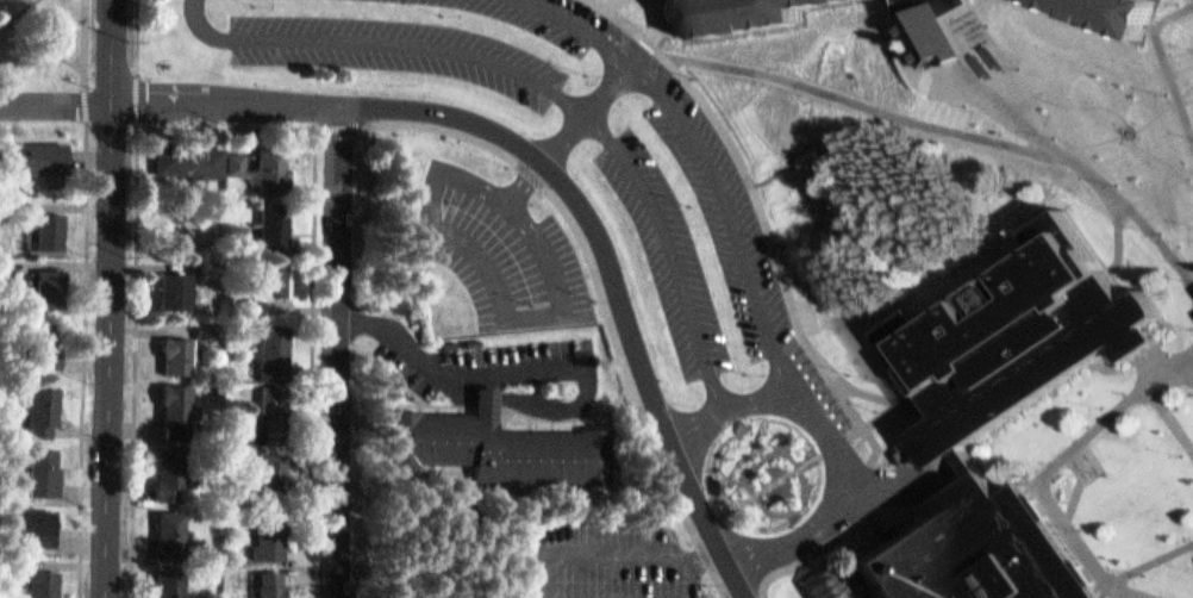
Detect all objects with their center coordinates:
building: (6, 0)
road: (37, 0)
road: (607, 2)
building: (747, 15)
building: (1106, 15)
road: (8, 23)
road: (667, 25)
building: (932, 29)
road: (40, 32)
road: (1157, 62)
road: (545, 87)
road: (1072, 99)
road: (171, 101)
road: (857, 101)
road: (1163, 102)
road: (1008, 105)
road: (586, 112)
road: (855, 118)
road: (808, 133)
road: (1094, 136)
road: (733, 139)
building: (36, 149)
road: (1163, 150)
building: (189, 151)
building: (267, 158)
road: (518, 158)
road: (710, 158)
road: (772, 163)
road: (1136, 207)
building: (276, 219)
building: (49, 224)
road: (1122, 231)
parking lot: (711, 243)
parking lot: (507, 251)
building: (276, 269)
road: (614, 275)
building: (174, 281)
building: (50, 282)
road: (90, 298)
road: (117, 298)
road: (139, 298)
road: (508, 298)
building: (211, 328)
building: (40, 340)
building: (1022, 340)
building: (276, 341)
building: (52, 343)
building: (179, 348)
road: (345, 351)
road: (541, 360)
road: (1158, 362)
road: (1191, 362)
road: (323, 363)
parking lot: (501, 363)
building: (179, 400)
road: (1153, 400)
building: (46, 403)
road: (905, 404)
building: (269, 411)
road: (885, 411)
building: (495, 437)
road: (842, 437)
road: (1086, 438)
road: (837, 441)
road: (879, 443)
building: (51, 461)
building: (171, 465)
building: (274, 468)
road: (774, 475)
road: (1075, 479)
road: (873, 490)
road: (710, 512)
building: (44, 515)
building: (171, 527)
building: (270, 532)
road: (1079, 540)
road: (826, 547)
building: (977, 550)
road: (439, 553)
road: (511, 554)
road: (612, 555)
road: (710, 555)
parking lot: (605, 562)
road: (1144, 565)
building: (171, 580)
building: (271, 581)
road: (724, 581)
building: (837, 581)
building: (51, 584)
parking lot: (864, 590)
road: (1136, 592)
road: (732, 596)
road: (743, 596)

